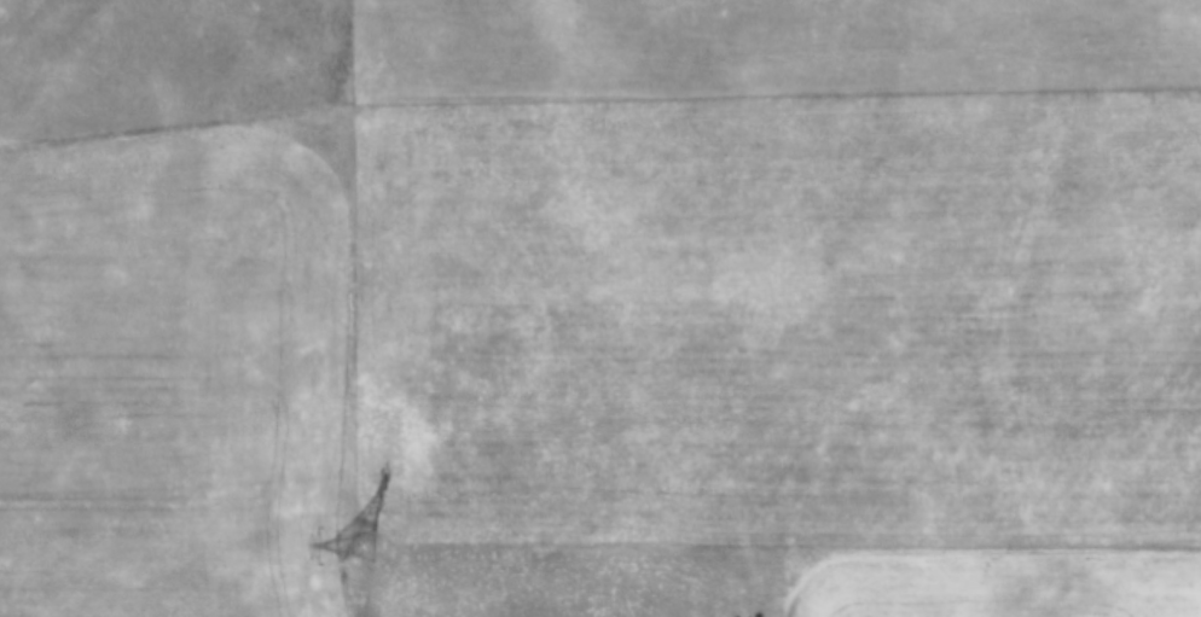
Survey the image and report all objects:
power tower: (356, 549)

